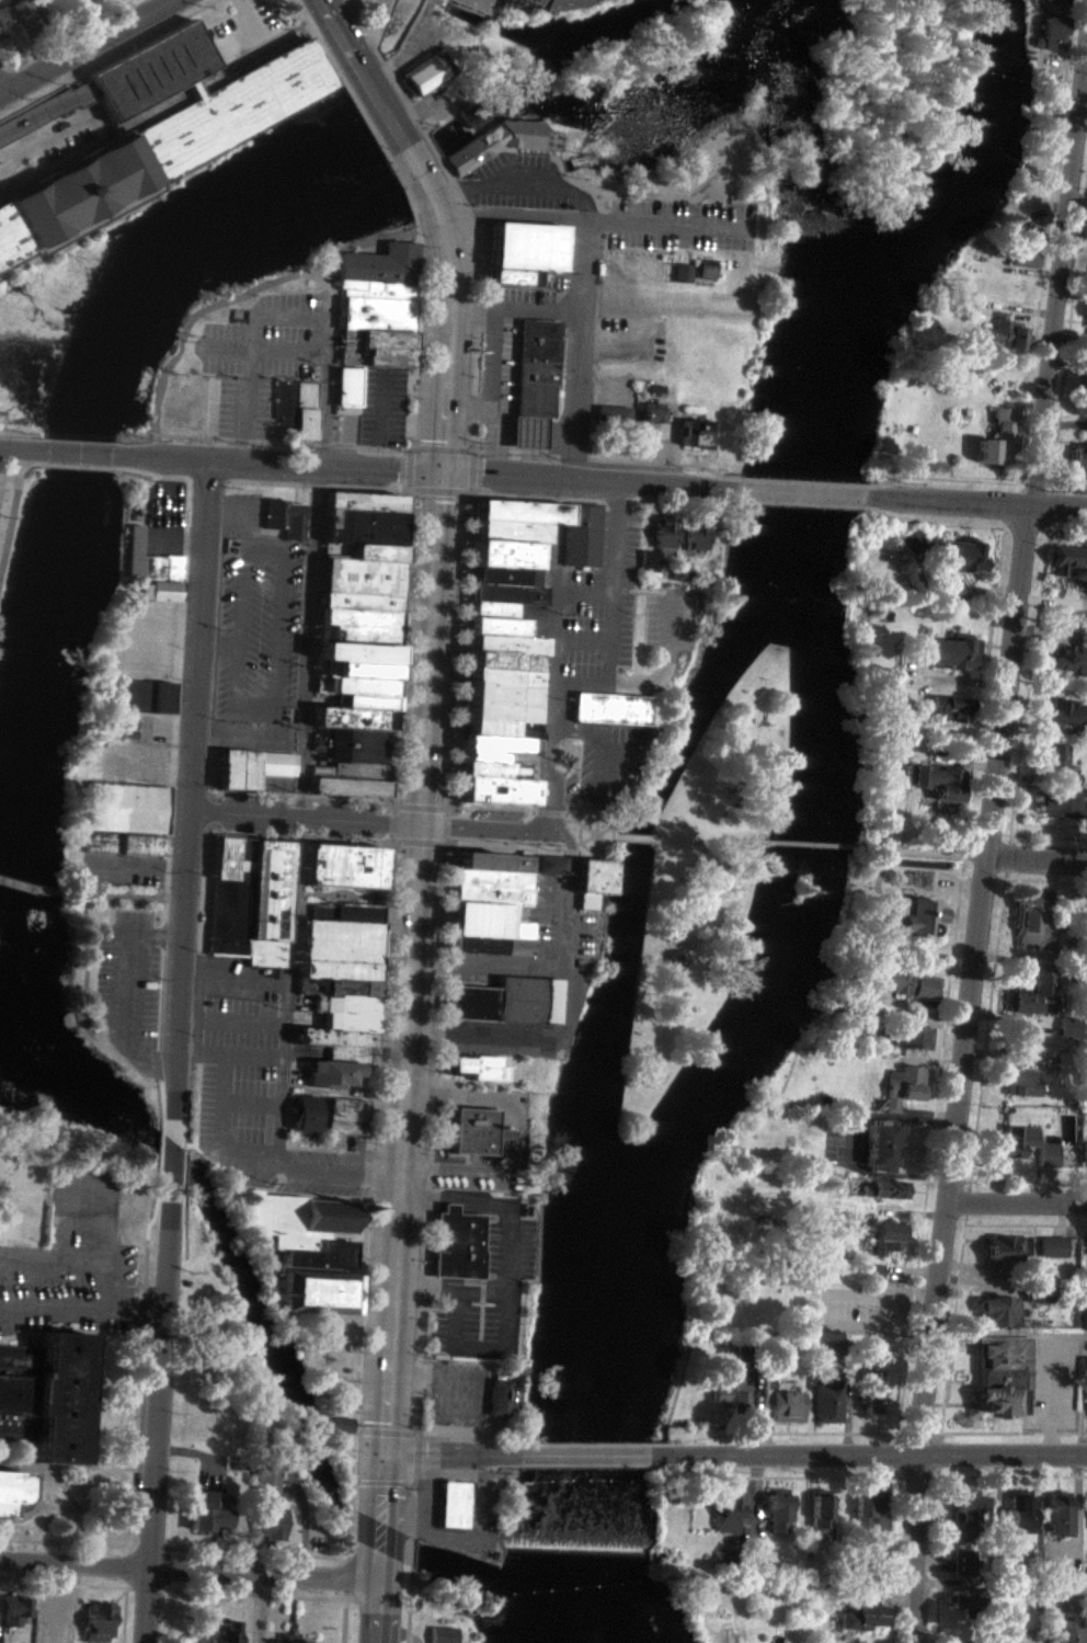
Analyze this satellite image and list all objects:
building: (1054, 1)
building: (564, 4)
road: (239, 5)
building: (18, 18)
road: (331, 20)
road: (369, 30)
road: (62, 34)
road: (250, 35)
building: (1051, 35)
parking lot: (243, 36)
road: (148, 37)
road: (85, 48)
road: (322, 48)
road: (407, 48)
road: (375, 54)
building: (148, 73)
parking lot: (148, 73)
building: (421, 75)
road: (70, 79)
road: (71, 82)
road: (1, 91)
road: (78, 98)
road: (31, 100)
road: (384, 106)
road: (32, 119)
river: (789, 128)
parking lot: (56, 135)
road: (59, 136)
road: (424, 136)
building: (502, 142)
road: (378, 144)
building: (157, 150)
road: (5, 170)
road: (453, 185)
road: (432, 199)
river: (822, 215)
road: (511, 216)
road: (765, 218)
road: (471, 219)
river: (199, 226)
road: (668, 226)
parking lot: (682, 226)
road: (762, 228)
building: (524, 251)
park: (684, 251)
river: (837, 260)
building: (381, 265)
road: (482, 265)
building: (706, 269)
building: (682, 273)
building: (377, 290)
road: (327, 293)
road: (1060, 295)
road: (226, 300)
road: (514, 309)
road: (570, 310)
building: (378, 315)
road: (479, 315)
road: (286, 318)
building: (1086, 318)
road: (462, 322)
building: (1007, 334)
building: (375, 349)
road: (440, 349)
road: (222, 350)
road: (576, 350)
road: (245, 351)
parking lot: (506, 355)
parking lot: (261, 356)
road: (477, 365)
road: (500, 368)
building: (536, 369)
building: (1085, 376)
building: (345, 387)
road: (377, 404)
park: (184, 406)
building: (285, 406)
road: (458, 410)
road: (476, 411)
building: (308, 412)
parking lot: (374, 413)
road: (322, 415)
building: (610, 418)
road: (497, 419)
building: (648, 426)
building: (531, 432)
building: (695, 434)
road: (353, 437)
road: (474, 440)
building: (995, 441)
road: (410, 446)
road: (19, 448)
road: (412, 448)
road: (442, 449)
road: (471, 449)
road: (238, 452)
road: (78, 453)
road: (410, 453)
road: (20, 455)
building: (1079, 457)
road: (496, 460)
road: (275, 466)
road: (31, 467)
road: (77, 467)
road: (20, 469)
road: (410, 470)
road: (8, 472)
road: (472, 472)
traffic signals: (434, 475)
road: (583, 480)
parking lot: (1, 482)
road: (409, 492)
road: (440, 493)
road: (797, 493)
road: (470, 495)
road: (618, 495)
building: (365, 502)
road: (973, 503)
building: (520, 511)
road: (11, 514)
building: (286, 518)
park: (8, 521)
building: (364, 527)
building: (508, 530)
building: (662, 532)
building: (583, 535)
building: (696, 535)
building: (908, 541)
building: (365, 551)
building: (505, 554)
building: (957, 557)
building: (1066, 558)
building: (648, 560)
building: (148, 561)
building: (679, 571)
building: (362, 577)
building: (496, 577)
building: (157, 591)
building: (502, 594)
road: (611, 600)
building: (361, 602)
building: (488, 609)
road: (564, 612)
road: (304, 621)
parking lot: (667, 624)
road: (668, 624)
building: (359, 626)
building: (494, 626)
parking lot: (263, 635)
road: (259, 640)
road: (250, 644)
building: (504, 644)
building: (949, 652)
road: (176, 653)
building: (1068, 659)
building: (367, 660)
building: (504, 662)
parking lot: (596, 673)
building: (502, 677)
road: (651, 683)
building: (358, 686)
building: (159, 697)
building: (375, 701)
building: (502, 704)
building: (943, 708)
building: (613, 710)
building: (1062, 711)
building: (361, 718)
building: (499, 730)
road: (247, 738)
building: (357, 745)
building: (493, 745)
road: (571, 748)
building: (480, 757)
building: (1052, 757)
building: (248, 768)
building: (490, 771)
building: (351, 772)
road: (556, 778)
building: (932, 781)
building: (354, 788)
building: (496, 791)
road: (190, 799)
building: (1059, 806)
road: (398, 808)
river: (811, 808)
road: (420, 809)
road: (444, 809)
road: (394, 811)
road: (447, 812)
building: (124, 819)
road: (305, 819)
road: (553, 821)
road: (391, 824)
road: (447, 828)
road: (487, 830)
road: (572, 835)
road: (603, 837)
road: (644, 840)
road: (714, 842)
road: (394, 843)
road: (447, 843)
road: (419, 844)
road: (445, 845)
road: (812, 846)
road: (929, 852)
road: (1038, 857)
building: (231, 859)
road: (574, 859)
building: (499, 863)
road: (123, 866)
building: (348, 866)
building: (554, 866)
river: (644, 866)
road: (174, 867)
parking lot: (123, 870)
building: (595, 878)
building: (496, 887)
park: (706, 887)
road: (31, 889)
road: (301, 893)
road: (124, 897)
road: (447, 900)
building: (585, 902)
building: (276, 903)
building: (239, 906)
building: (355, 914)
building: (916, 916)
building: (488, 921)
road: (560, 923)
building: (1032, 924)
road: (171, 937)
building: (336, 943)
building: (500, 944)
road: (427, 962)
road: (382, 963)
road: (405, 963)
road: (442, 968)
building: (333, 971)
parking lot: (517, 971)
road: (289, 979)
road: (972, 982)
building: (908, 984)
parking lot: (128, 985)
road: (233, 986)
building: (335, 989)
road: (125, 991)
road: (572, 999)
road: (438, 1002)
building: (512, 1002)
building: (348, 1006)
road: (184, 1020)
building: (347, 1023)
road: (238, 1024)
road: (437, 1031)
road: (426, 1036)
building: (913, 1037)
building: (332, 1038)
road: (183, 1052)
road: (236, 1056)
building: (344, 1056)
road: (436, 1060)
building: (487, 1070)
road: (164, 1073)
building: (333, 1074)
road: (281, 1080)
parking lot: (253, 1082)
building: (1023, 1082)
building: (897, 1088)
road: (434, 1091)
road: (339, 1094)
road: (374, 1097)
road: (424, 1097)
road: (249, 1106)
building: (309, 1115)
building: (347, 1117)
road: (219, 1131)
road: (371, 1131)
building: (469, 1131)
road: (432, 1133)
parking lot: (516, 1134)
building: (504, 1136)
building: (1014, 1141)
building: (878, 1145)
road: (515, 1146)
building: (1083, 1154)
building: (1046, 1155)
road: (172, 1161)
road: (430, 1171)
road: (415, 1172)
road: (318, 1174)
road: (368, 1174)
road: (376, 1177)
road: (428, 1183)
building: (881, 1189)
road: (427, 1201)
road: (460, 1202)
road: (1016, 1205)
road: (484, 1210)
building: (302, 1228)
building: (884, 1237)
road: (426, 1245)
building: (456, 1246)
road: (483, 1247)
building: (1004, 1247)
building: (1051, 1247)
building: (870, 1271)
road: (482, 1282)
road: (482, 1287)
road: (424, 1288)
road: (508, 1288)
road: (448, 1289)
building: (1083, 1289)
building: (1037, 1292)
building: (324, 1294)
road: (482, 1296)
parking lot: (490, 1302)
road: (825, 1309)
road: (82, 1310)
building: (998, 1311)
building: (1083, 1317)
road: (460, 1319)
road: (481, 1322)
road: (422, 1333)
river: (268, 1336)
road: (480, 1345)
road: (358, 1348)
road: (483, 1349)
park: (322, 1355)
park: (216, 1365)
building: (1083, 1367)
road: (419, 1377)
building: (999, 1377)
road: (404, 1379)
building: (868, 1379)
road: (461, 1384)
building: (729, 1389)
building: (45, 1394)
parking lot: (455, 1396)
building: (499, 1400)
building: (779, 1402)
building: (825, 1402)
road: (416, 1413)
road: (158, 1414)
building: (336, 1425)
road: (357, 1433)
road: (416, 1433)
road: (387, 1434)
road: (461, 1441)
traffic signals: (385, 1454)
road: (451, 1456)
road: (582, 1457)
road: (783, 1458)
road: (1005, 1458)
road: (416, 1460)
road: (354, 1483)
road: (385, 1484)
building: (262, 1487)
road: (382, 1487)
building: (9, 1488)
building: (459, 1506)
building: (964, 1506)
building: (776, 1509)
building: (205, 1510)
road: (414, 1510)
building: (868, 1511)
building: (725, 1513)
building: (1056, 1514)
building: (819, 1515)
building: (1020, 1519)
building: (266, 1524)
road: (350, 1524)
building: (959, 1533)
road: (380, 1537)
road: (347, 1551)
road: (919, 1551)
road: (413, 1554)
building: (962, 1563)
road: (188, 1573)
road: (346, 1577)
road: (378, 1598)
building: (964, 1599)
road: (68, 1606)
road: (410, 1607)
building: (14, 1611)
road: (344, 1618)
building: (96, 1622)
building: (217, 1631)
building: (1065, 1631)
building: (439, 1634)
building: (286, 1638)
building: (0, 1642)

